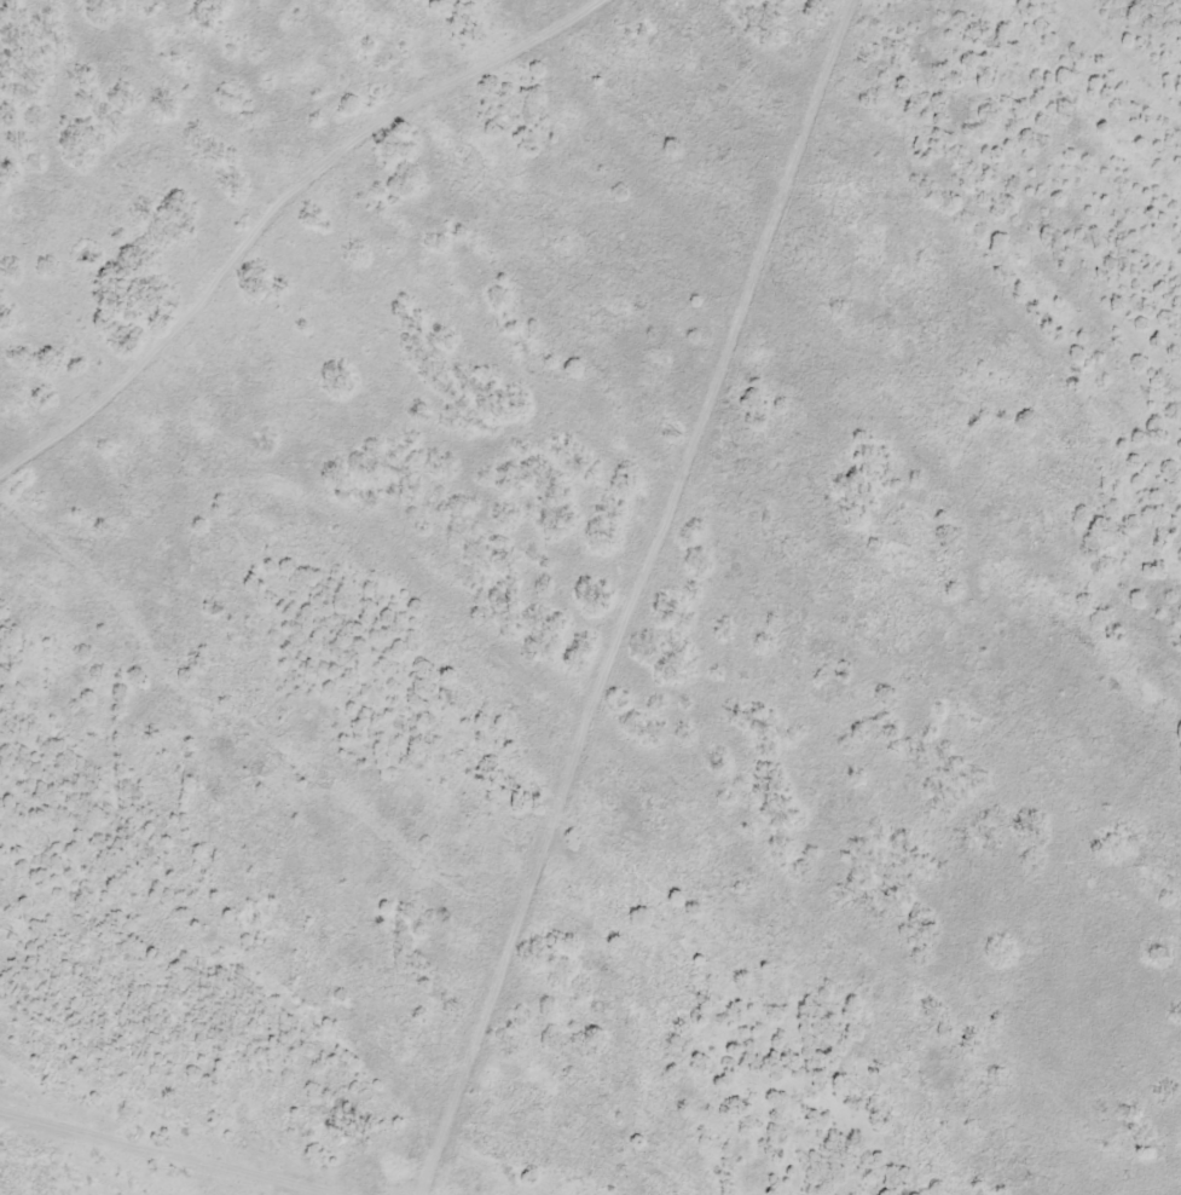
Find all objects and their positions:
road: (262, 215)

